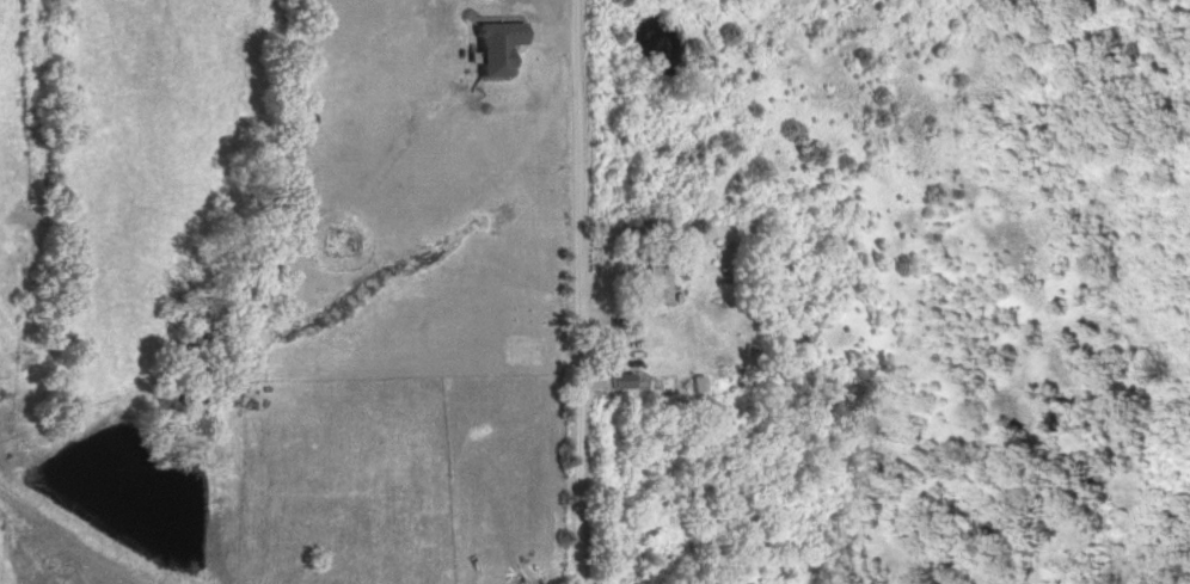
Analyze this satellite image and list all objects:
building: (651, 284)
road: (576, 291)
building: (615, 381)
building: (1063, 418)
building: (1069, 579)

